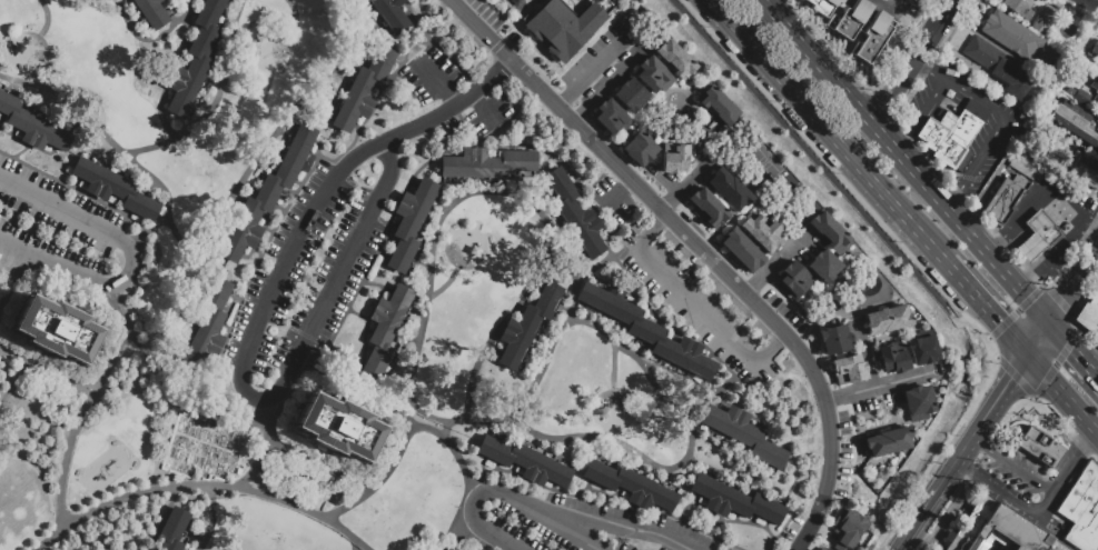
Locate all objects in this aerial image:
road: (1095, 1)
building: (822, 6)
building: (1019, 7)
building: (151, 12)
parking lot: (485, 12)
building: (389, 13)
building: (851, 19)
road: (940, 22)
building: (1040, 26)
building: (562, 27)
road: (170, 28)
building: (1010, 34)
building: (871, 37)
road: (584, 46)
road: (538, 47)
building: (1094, 48)
road: (920, 51)
building: (194, 58)
parking lot: (606, 60)
building: (676, 60)
road: (547, 61)
road: (818, 62)
road: (524, 63)
road: (594, 66)
building: (998, 67)
road: (931, 68)
building: (1049, 73)
parking lot: (429, 74)
building: (653, 74)
road: (222, 77)
road: (611, 82)
road: (436, 84)
building: (363, 88)
building: (1095, 88)
road: (896, 91)
building: (629, 96)
building: (1080, 97)
road: (929, 102)
road: (68, 103)
building: (715, 104)
road: (483, 107)
parking lot: (486, 113)
road: (432, 116)
building: (611, 117)
road: (1005, 121)
building: (1076, 122)
building: (32, 126)
road: (827, 131)
building: (952, 134)
road: (884, 137)
road: (276, 139)
road: (904, 139)
road: (161, 143)
building: (639, 148)
road: (389, 154)
road: (325, 157)
building: (674, 158)
park: (764, 162)
building: (486, 163)
building: (1023, 164)
road: (818, 166)
building: (1082, 170)
road: (917, 172)
road: (693, 173)
road: (674, 186)
road: (72, 188)
building: (113, 188)
building: (729, 188)
road: (617, 191)
building: (267, 193)
road: (502, 193)
road: (954, 197)
parking lot: (607, 199)
building: (1003, 199)
road: (671, 202)
road: (1062, 204)
building: (708, 207)
road: (1026, 208)
road: (949, 209)
building: (573, 214)
building: (409, 222)
road: (1091, 222)
building: (1042, 228)
gas station: (1042, 228)
parking lot: (62, 231)
building: (829, 232)
building: (759, 233)
road: (972, 234)
road: (999, 238)
road: (1067, 240)
road: (1030, 243)
building: (1030, 247)
building: (741, 249)
road: (703, 250)
road: (131, 257)
road: (1090, 260)
building: (822, 266)
road: (595, 267)
road: (772, 268)
road: (1060, 274)
road: (11, 276)
road: (1035, 276)
road: (1089, 277)
building: (793, 278)
road: (961, 279)
road: (1017, 282)
parking lot: (299, 286)
road: (67, 287)
road: (570, 296)
road: (1066, 297)
parking lot: (698, 298)
road: (1031, 298)
traffic signals: (1065, 300)
road: (120, 304)
road: (698, 309)
parking lot: (783, 309)
building: (1089, 317)
building: (886, 319)
traffic signals: (1001, 321)
road: (1002, 322)
building: (527, 324)
road: (1071, 324)
building: (206, 327)
building: (385, 328)
building: (58, 331)
building: (647, 331)
road: (983, 336)
road: (1039, 336)
road: (988, 338)
road: (1075, 338)
building: (833, 339)
road: (1070, 344)
traffic signals: (1072, 347)
building: (922, 350)
building: (892, 357)
road: (995, 357)
building: (1097, 357)
road: (1005, 366)
building: (848, 369)
road: (991, 369)
road: (1094, 372)
road: (46, 374)
traffic signals: (1010, 378)
road: (1042, 384)
road: (881, 386)
road: (12, 387)
road: (1061, 390)
road: (259, 398)
parking lot: (874, 402)
building: (917, 402)
road: (882, 407)
road: (985, 414)
parking lot: (842, 422)
road: (254, 426)
road: (877, 426)
building: (337, 427)
road: (421, 428)
road: (1097, 431)
road: (689, 432)
building: (742, 433)
road: (73, 436)
road: (1089, 439)
building: (888, 441)
road: (978, 442)
road: (263, 444)
road: (216, 446)
building: (1040, 447)
road: (206, 458)
building: (525, 461)
road: (930, 466)
road: (962, 466)
road: (1019, 470)
building: (238, 471)
road: (1068, 471)
road: (851, 478)
parking lot: (841, 481)
road: (218, 486)
building: (629, 486)
road: (870, 492)
road: (505, 493)
road: (1005, 493)
road: (605, 494)
building: (733, 500)
road: (1046, 504)
building: (1081, 509)
road: (918, 514)
road: (455, 518)
road: (160, 519)
road: (211, 519)
road: (741, 521)
parking lot: (571, 523)
road: (615, 523)
building: (171, 529)
building: (848, 529)
building: (995, 529)
road: (780, 531)
parking lot: (787, 533)
road: (472, 538)
road: (356, 546)
building: (1055, 546)
building: (818, 549)
building: (822, 549)
building: (1097, 549)

